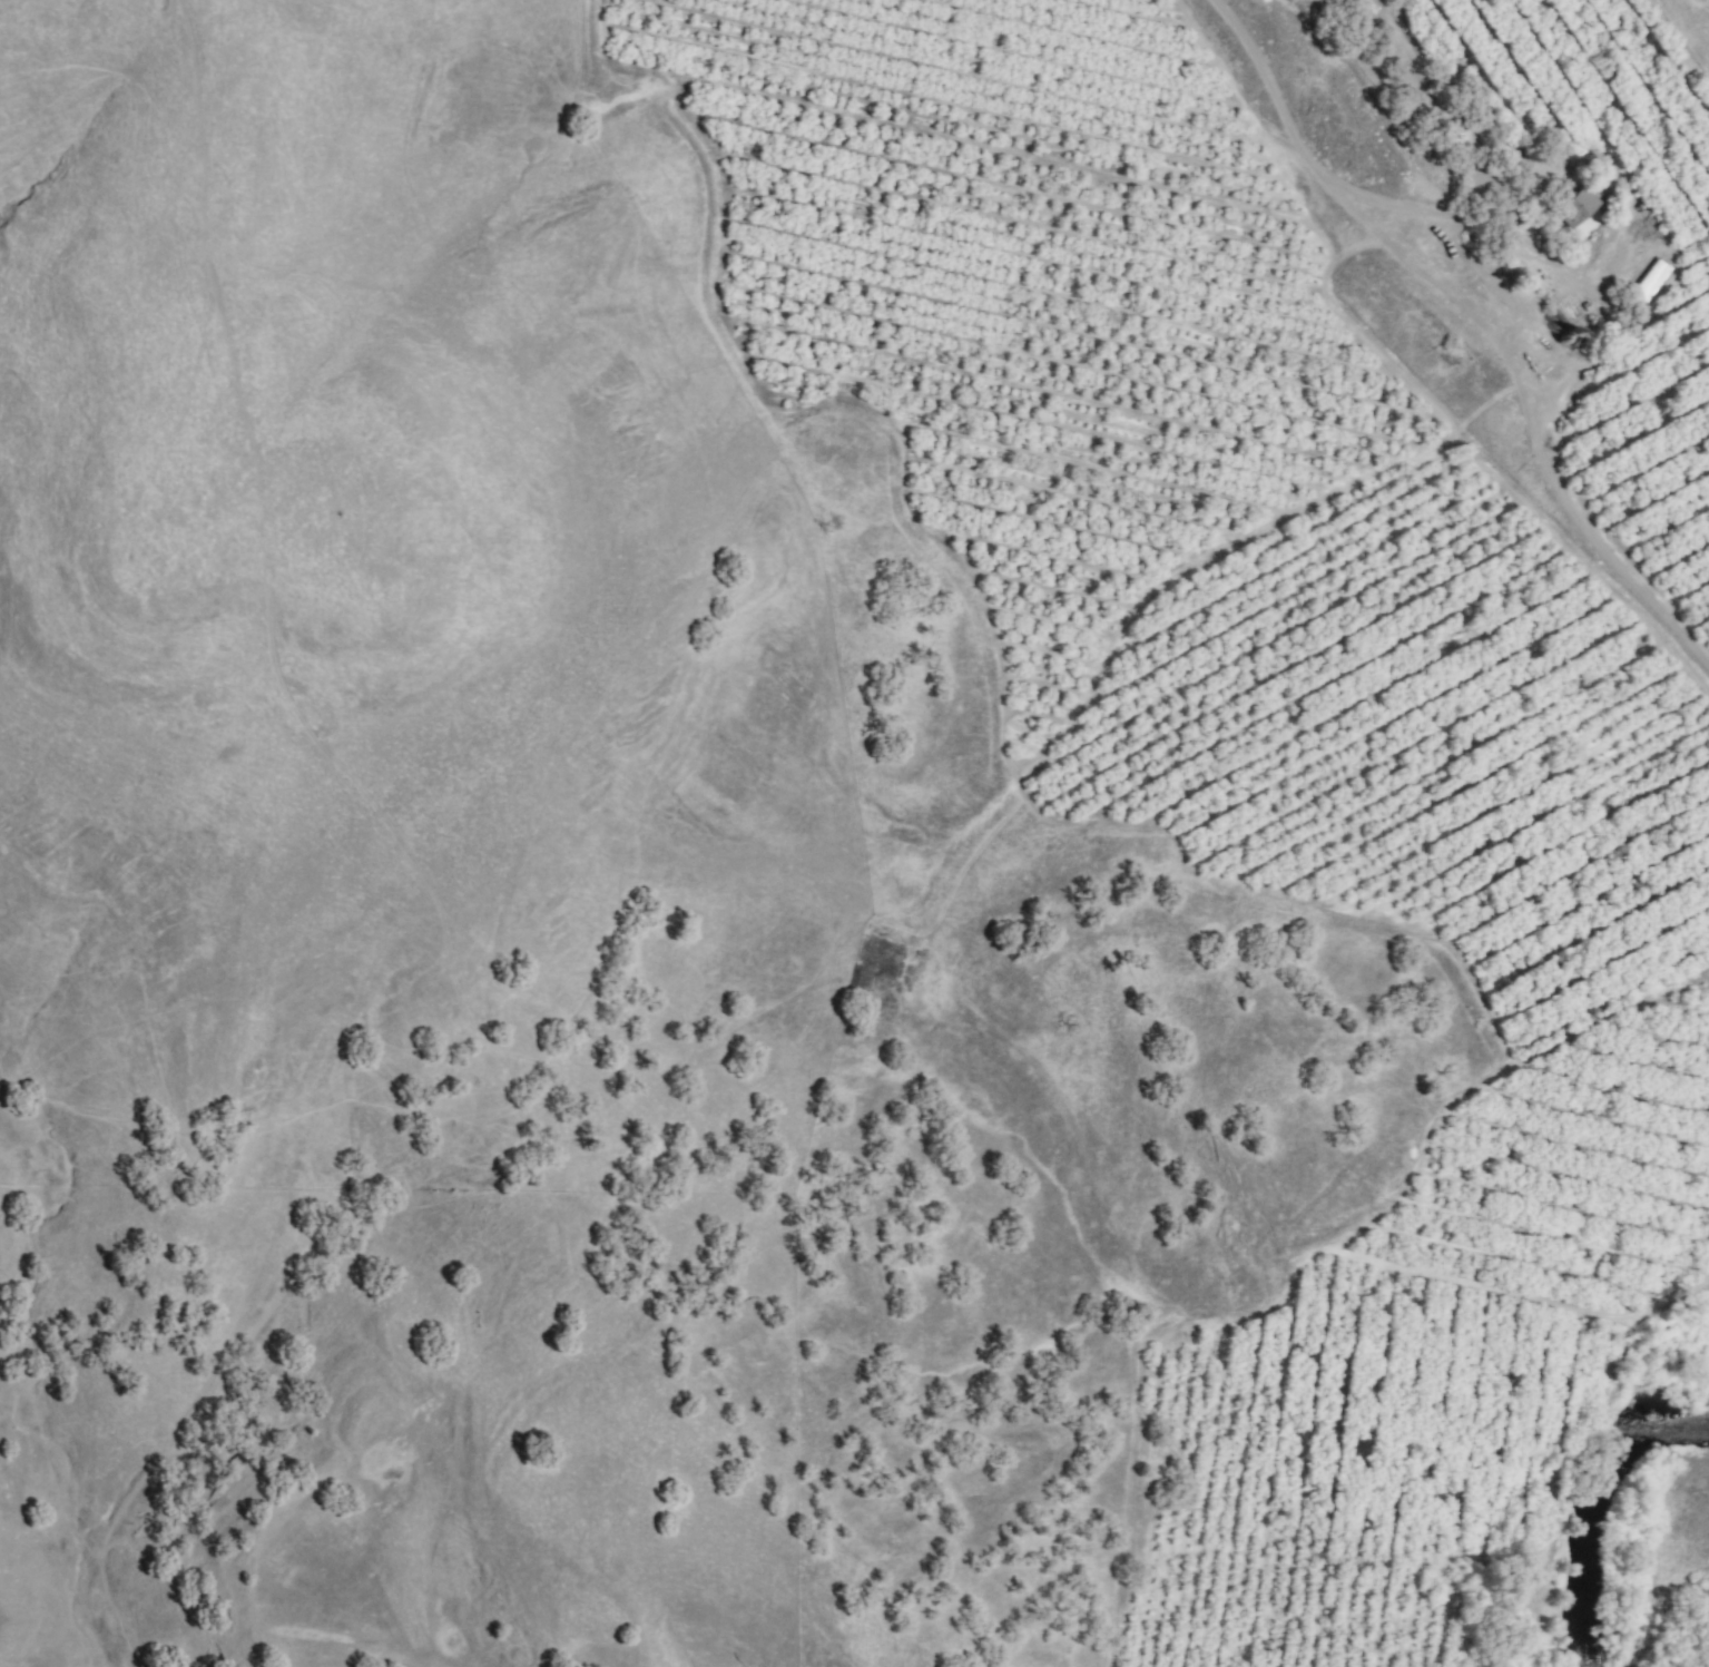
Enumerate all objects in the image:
road: (1348, 189)
building: (1580, 207)
building: (1512, 208)
building: (1654, 281)
crop: (1329, 686)
river: (1591, 1511)
building: (1594, 1611)

